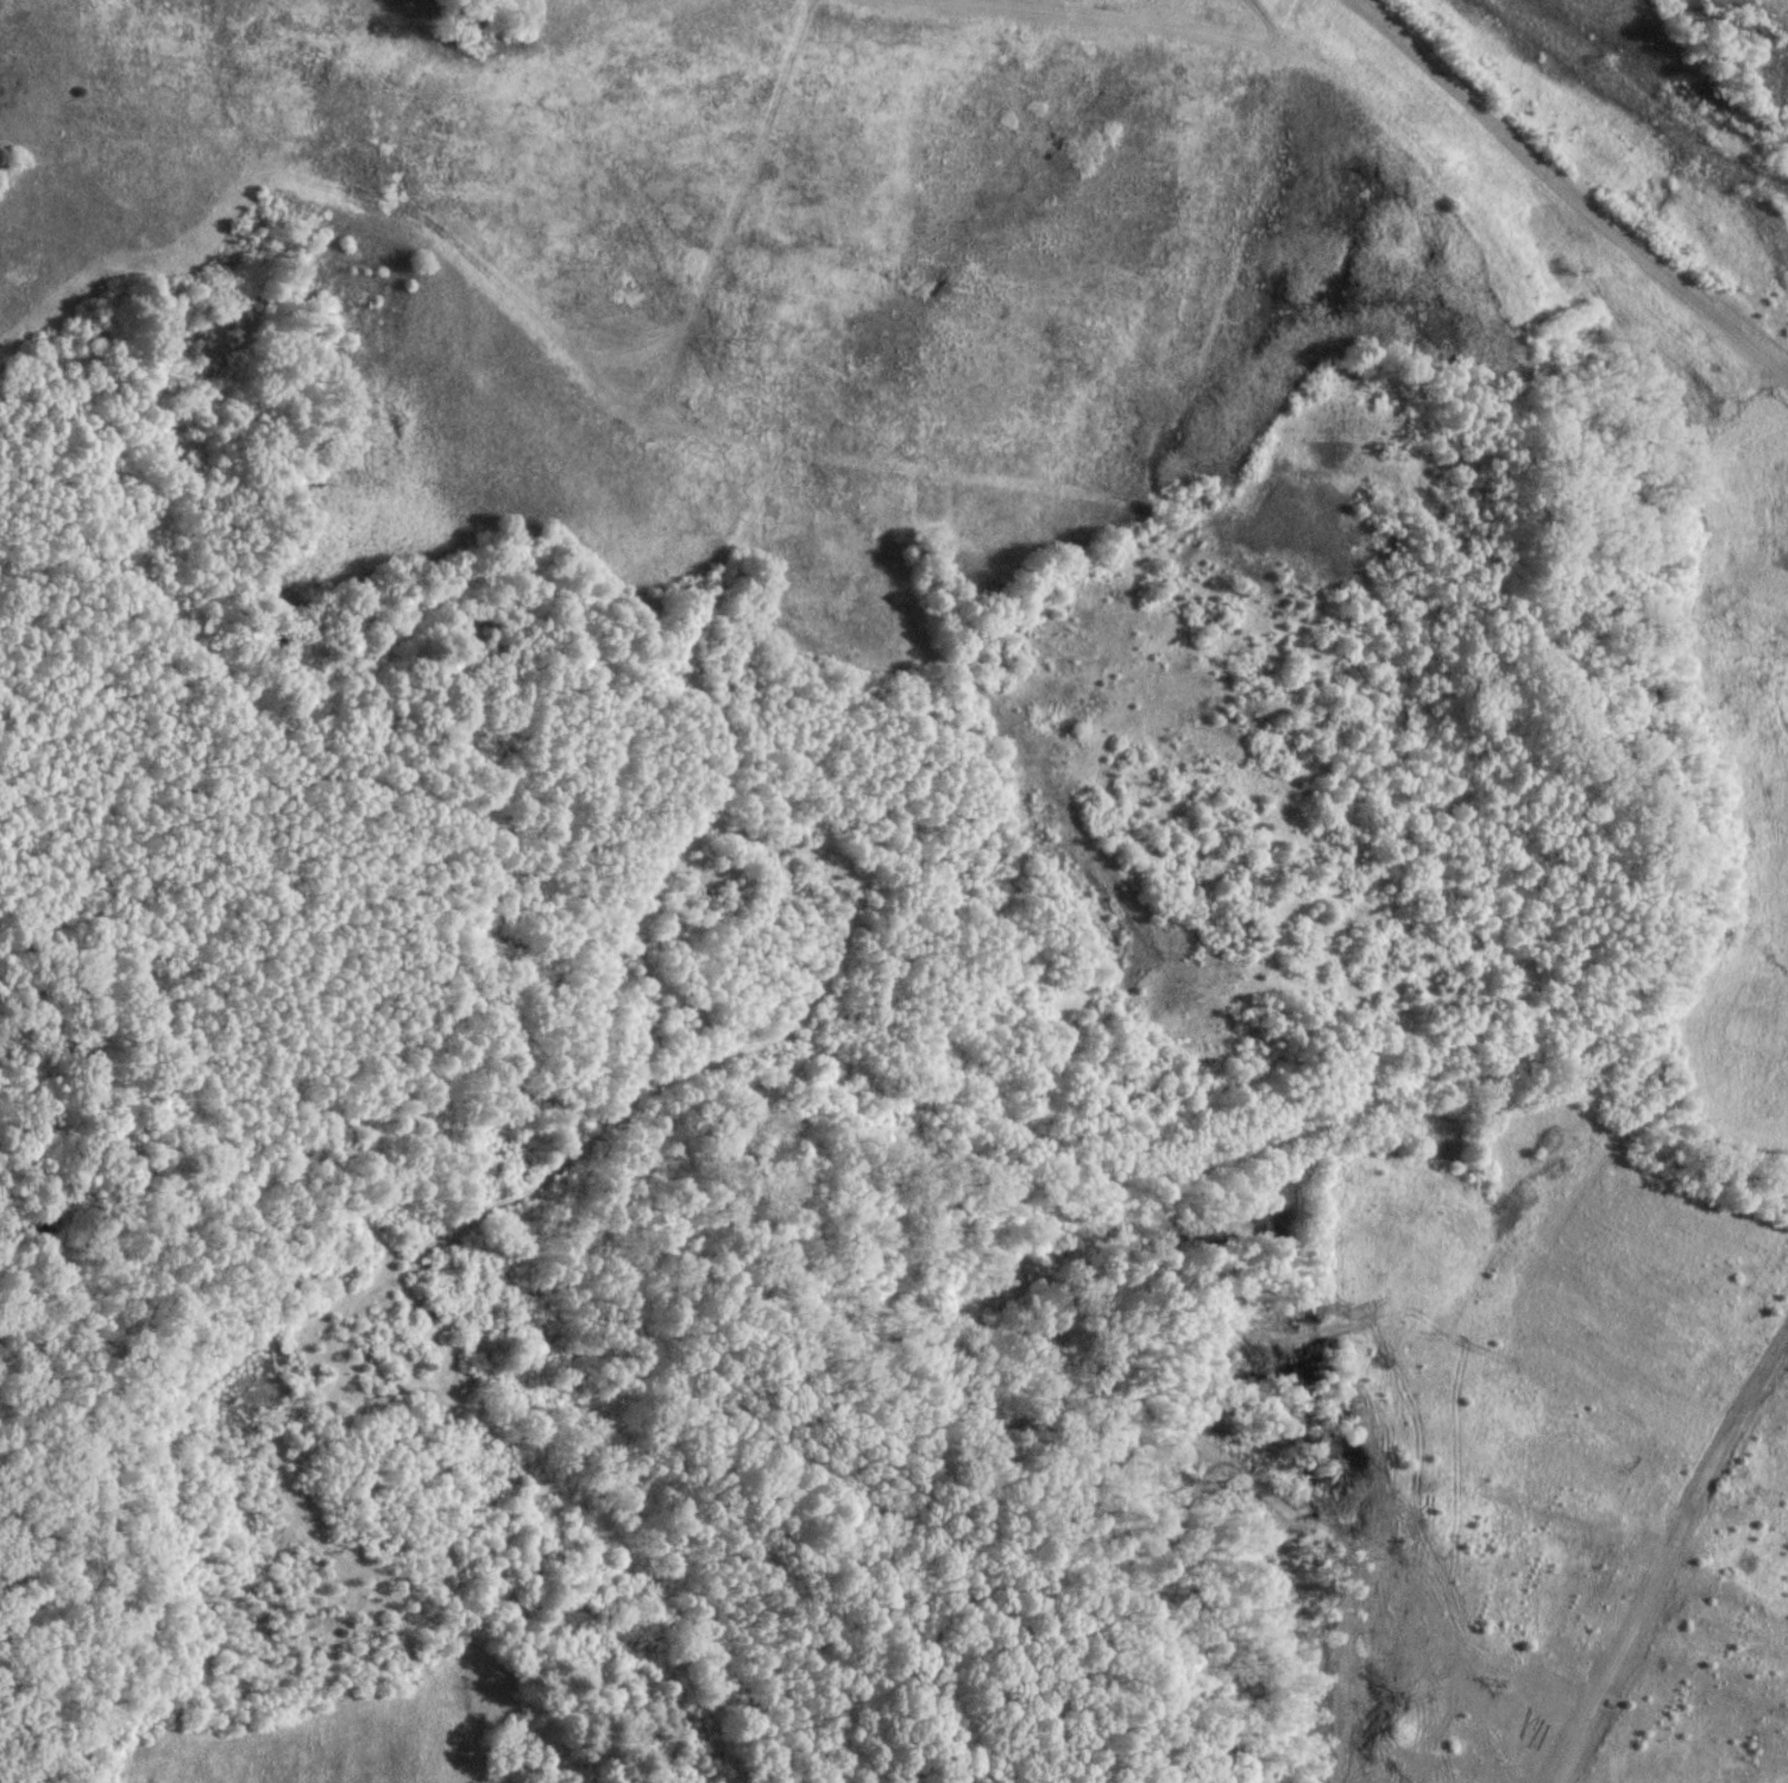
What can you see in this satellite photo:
road: (1570, 188)
road: (1681, 1542)

